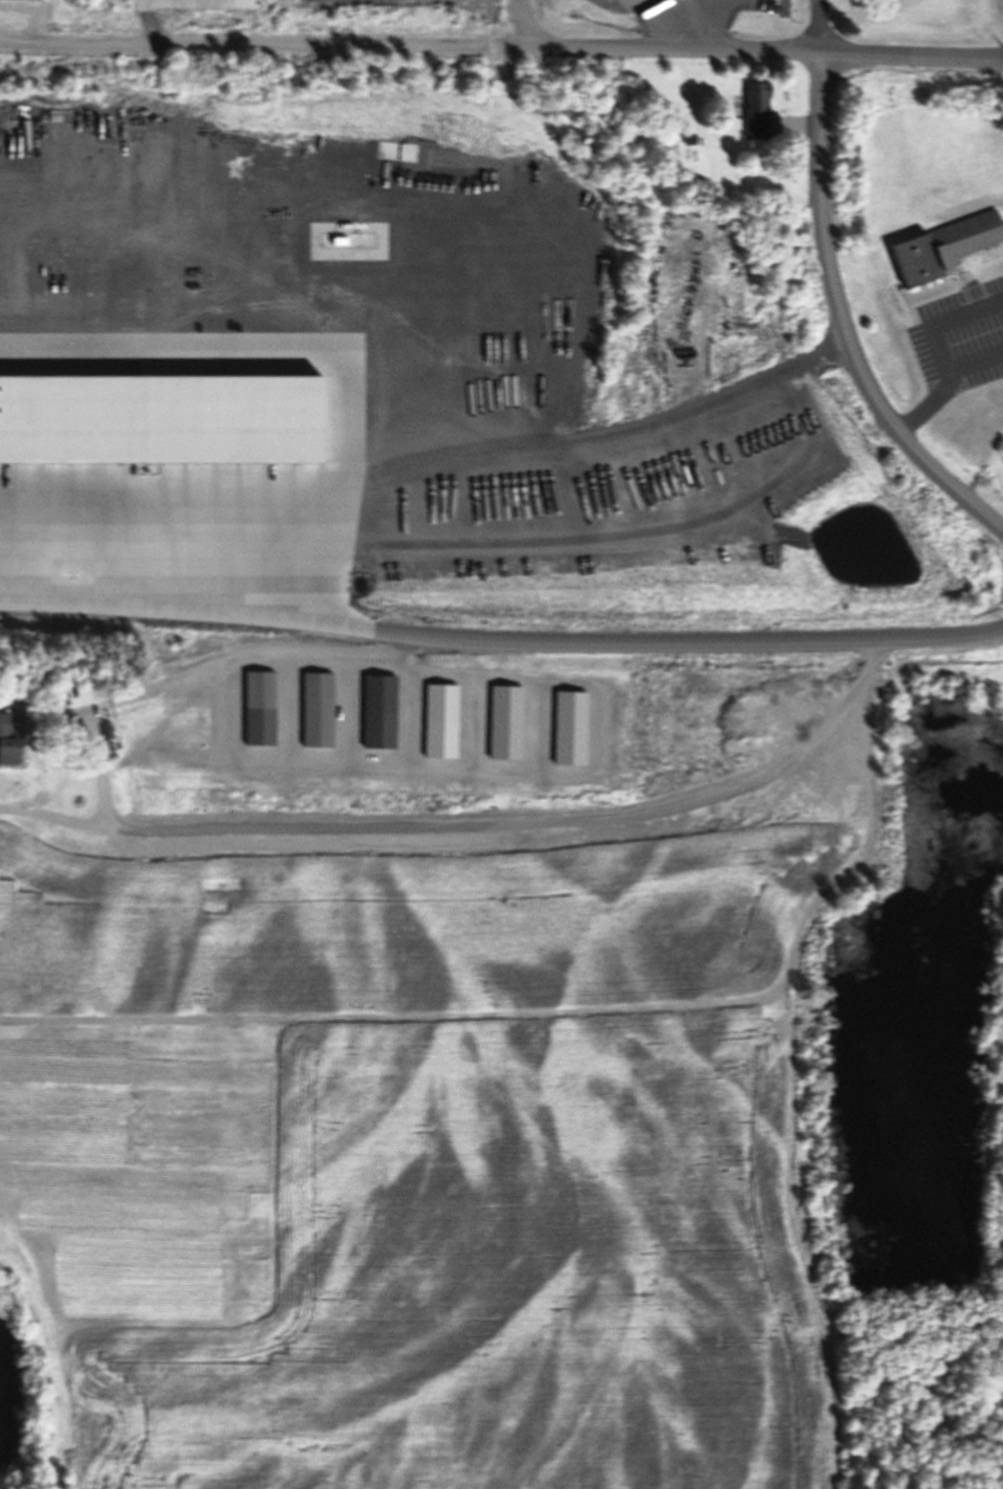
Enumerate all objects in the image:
road: (501, 45)
building: (755, 110)
building: (941, 246)
road: (836, 321)
quarry: (421, 367)
building: (486, 493)
building: (754, 537)
road: (933, 636)
road: (425, 640)
building: (258, 708)
building: (316, 709)
building: (377, 711)
building: (437, 738)
building: (8, 751)
crop: (416, 1138)
park: (912, 1402)

